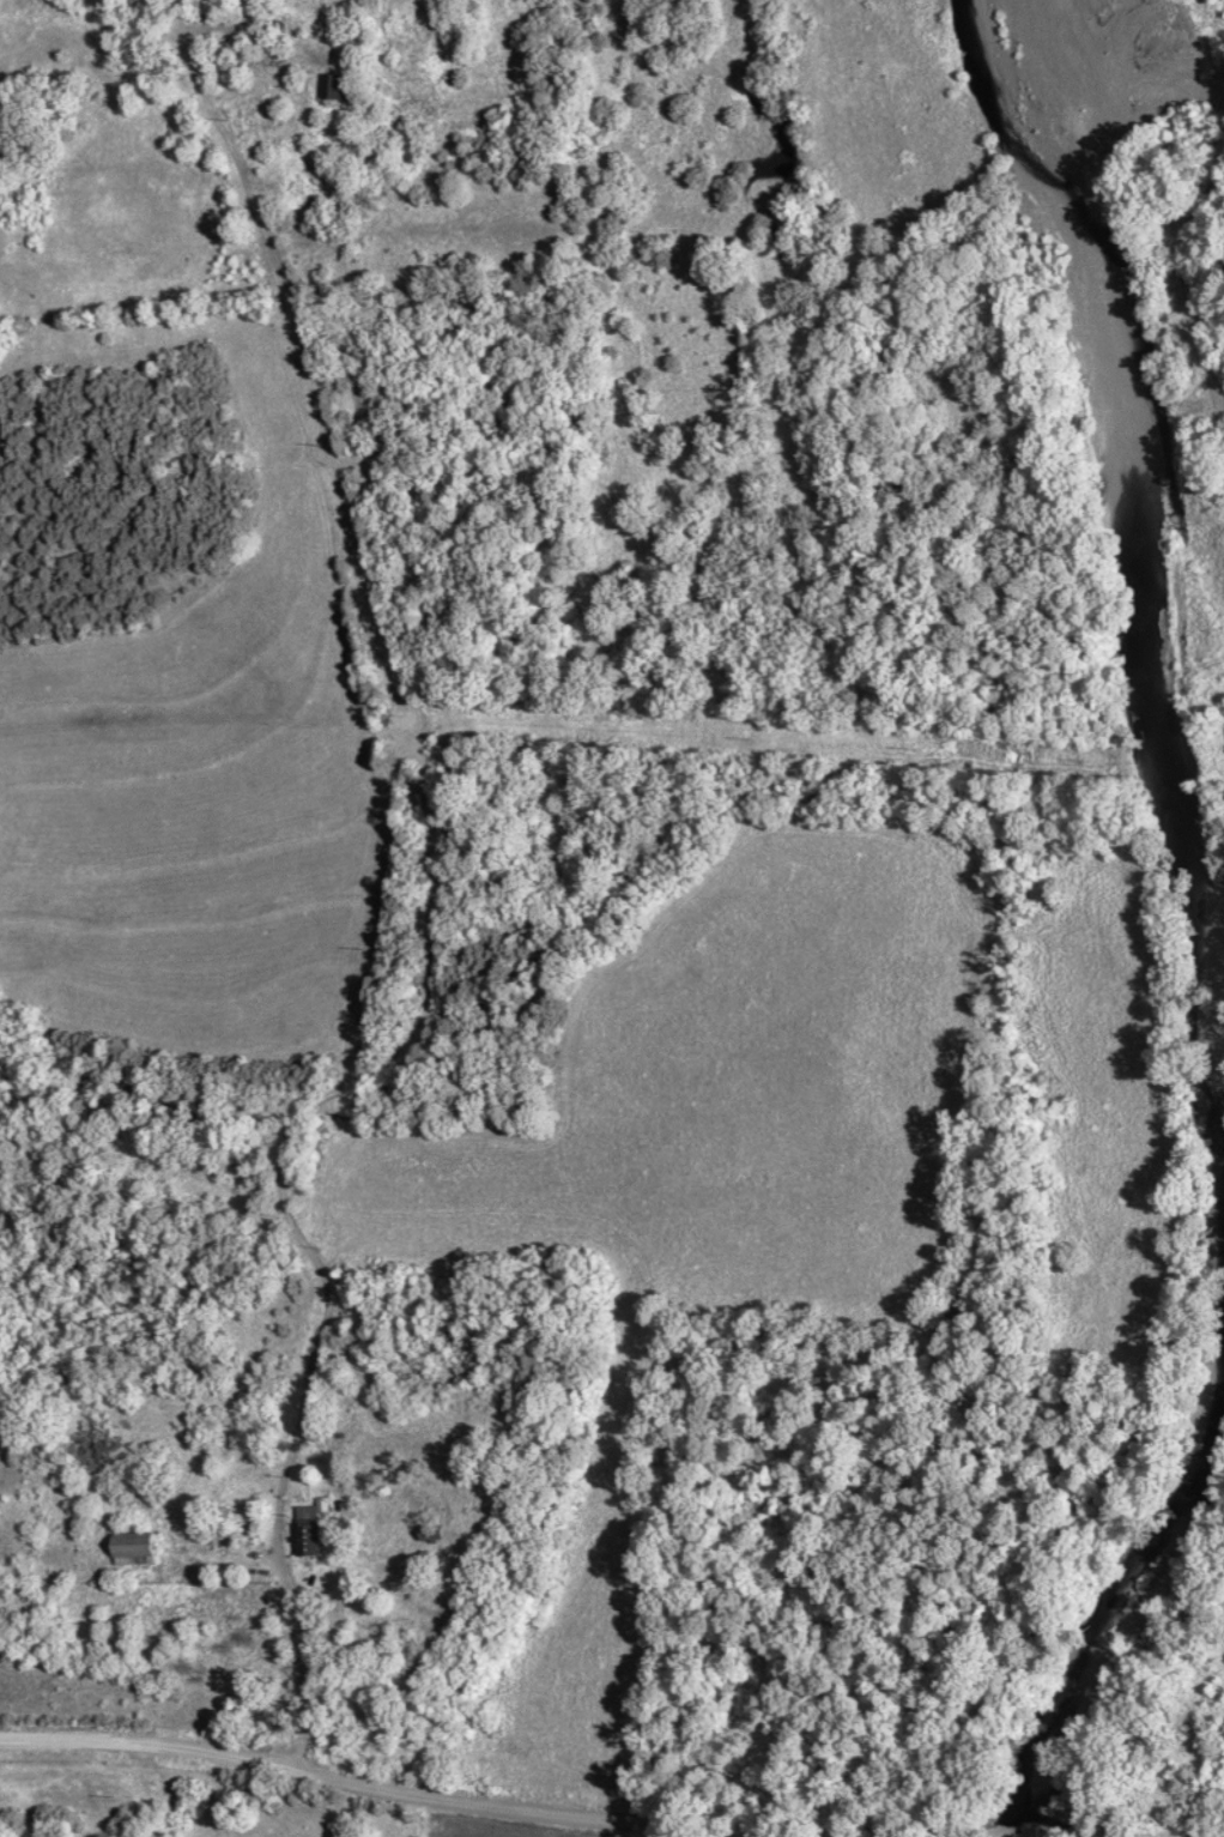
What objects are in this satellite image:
building: (345, 87)
building: (218, 1524)
building: (437, 1535)
building: (138, 1549)
road: (310, 1663)
road: (164, 1750)
road: (642, 1814)

